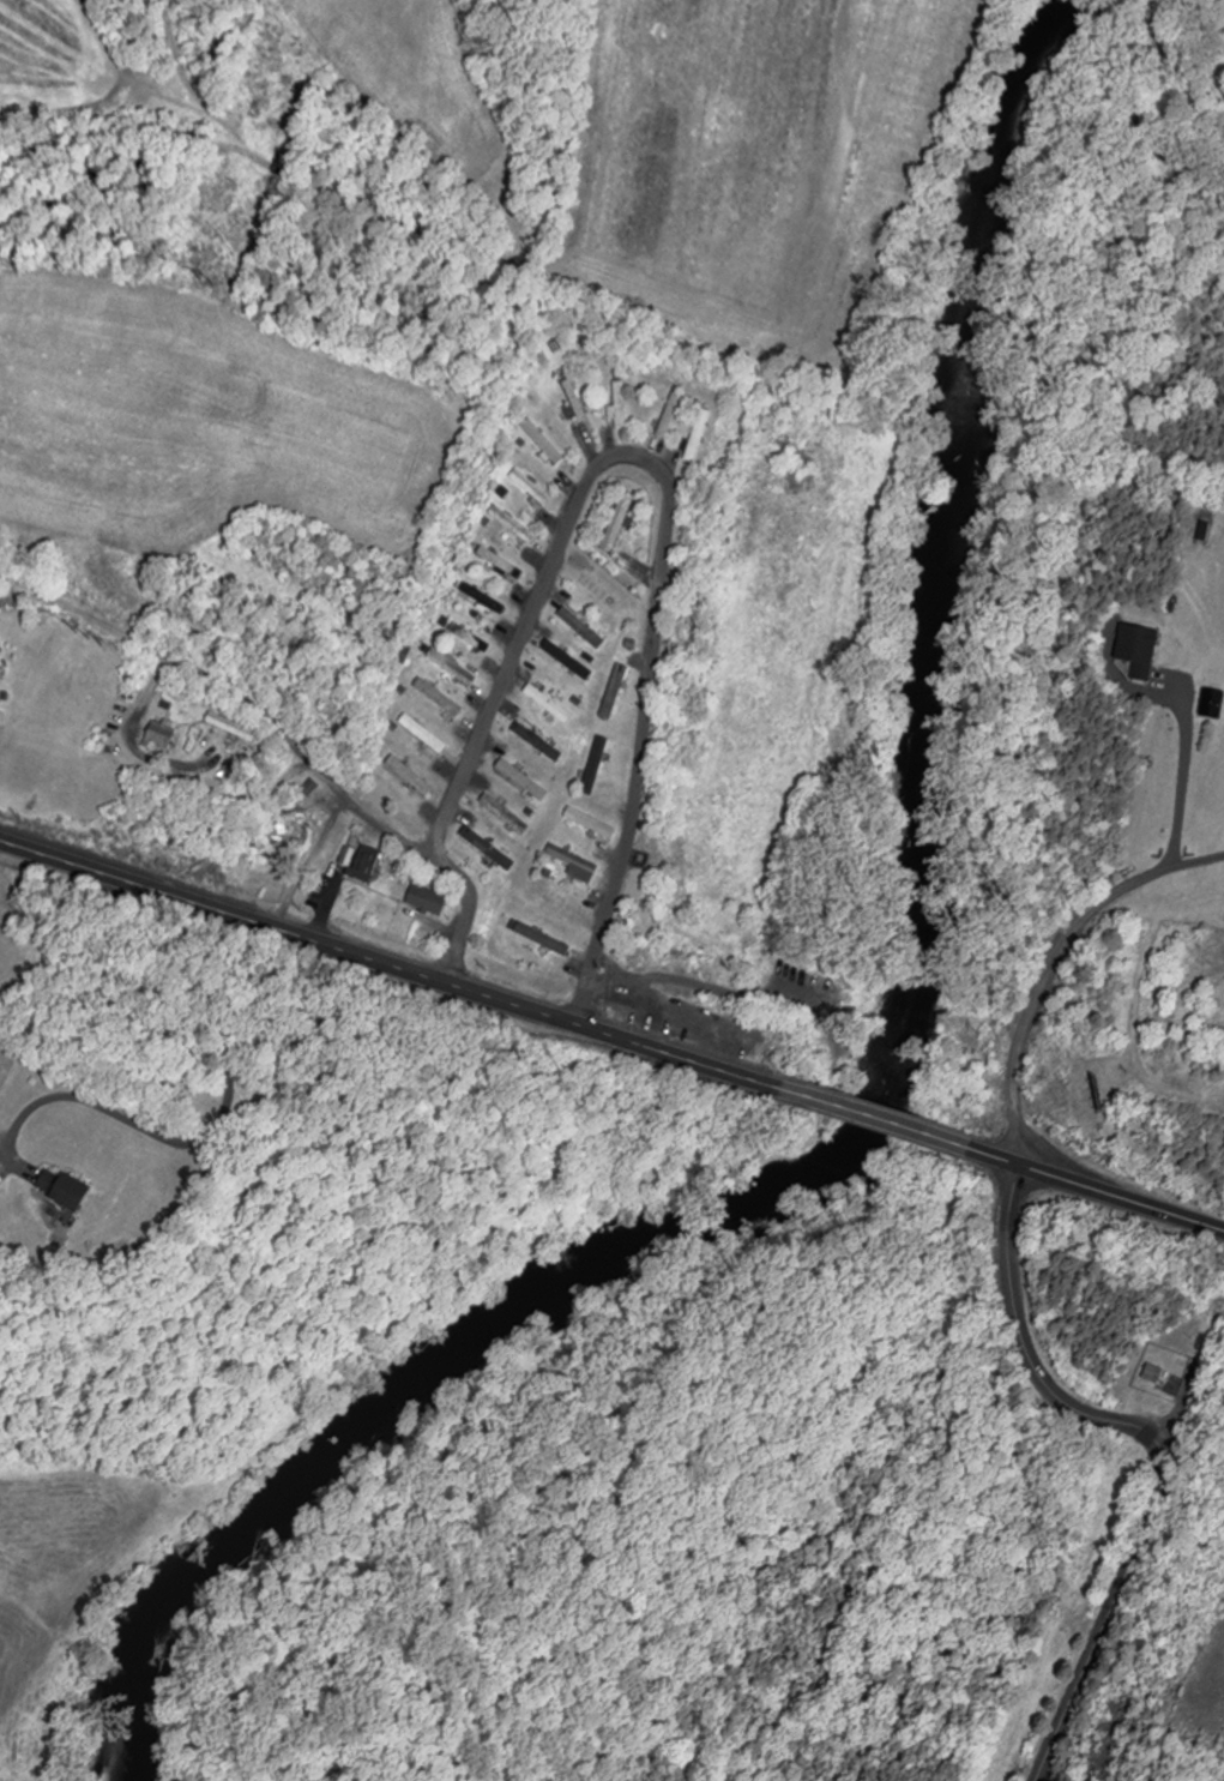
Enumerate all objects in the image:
power tower: (210, 287)
building: (622, 404)
building: (673, 415)
building: (701, 435)
building: (545, 443)
building: (533, 487)
road: (673, 503)
building: (621, 522)
building: (515, 525)
building: (1206, 531)
building: (502, 564)
building: (483, 598)
building: (578, 622)
power tower: (91, 633)
building: (468, 634)
building: (1140, 650)
building: (404, 657)
building: (571, 660)
building: (454, 667)
building: (617, 691)
building: (441, 697)
building: (551, 704)
building: (235, 727)
building: (426, 733)
building: (164, 735)
building: (541, 742)
road: (309, 757)
building: (598, 766)
road: (1183, 775)
building: (412, 776)
building: (526, 781)
building: (507, 814)
building: (306, 820)
building: (593, 824)
building: (492, 849)
building: (363, 861)
building: (578, 865)
building: (430, 901)
building: (544, 939)
road: (386, 962)
road: (1054, 962)
river: (893, 1070)
road: (223, 1109)
road: (872, 1118)
road: (1097, 1189)
building: (66, 1190)
building: (1156, 1374)
road: (1160, 1445)
quarry: (1178, 1685)

